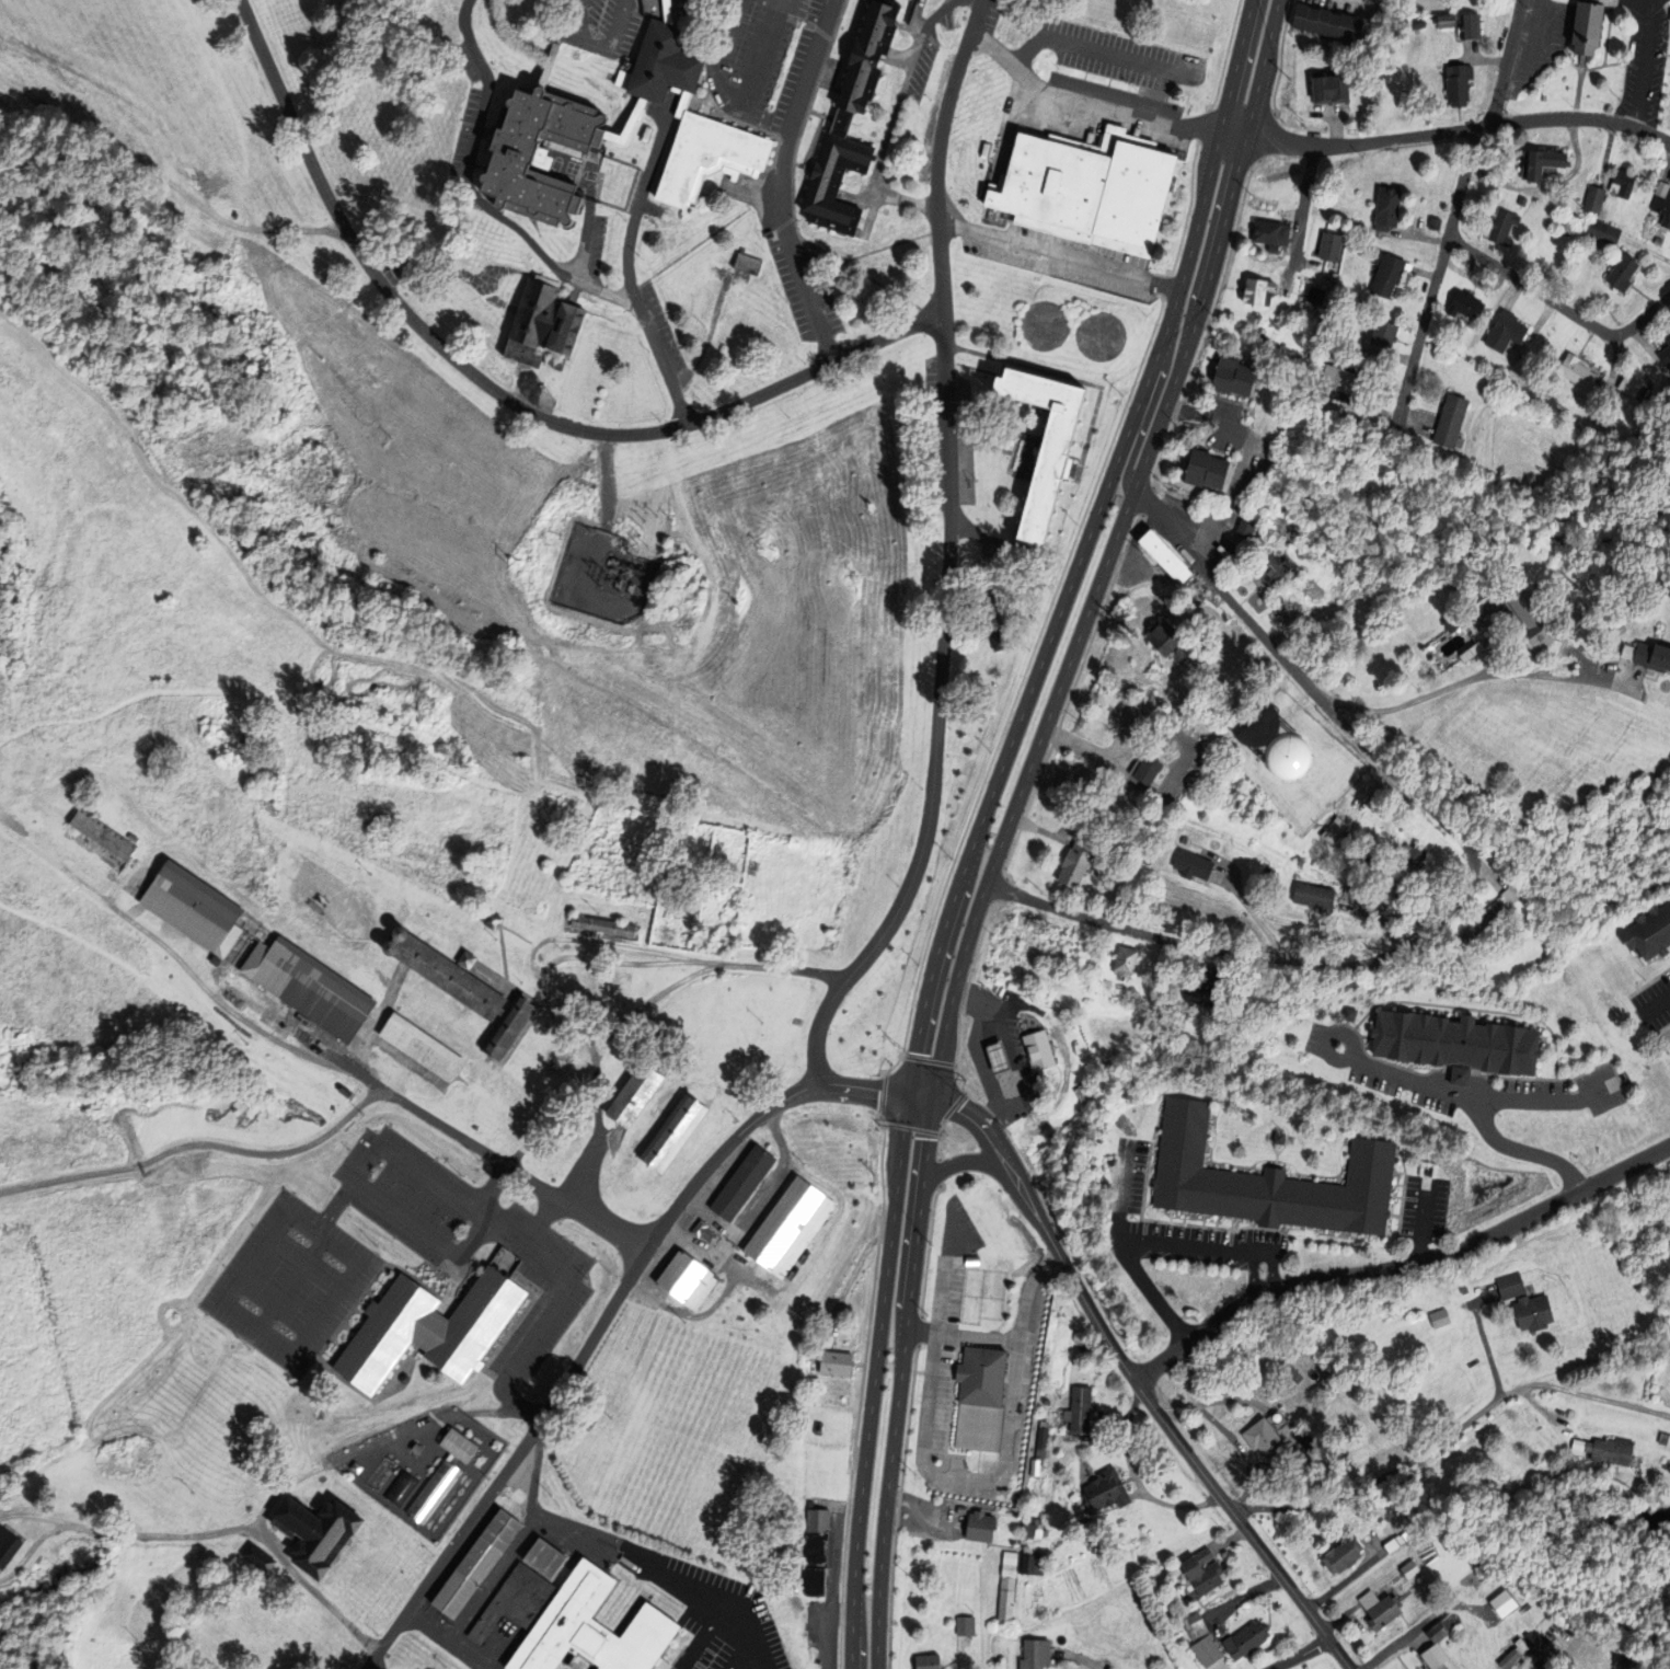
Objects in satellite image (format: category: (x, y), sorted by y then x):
building: (1229, 0)
parking lot: (1616, 1)
parking lot: (1668, 2)
road: (1652, 4)
building: (669, 11)
parking lot: (1669, 20)
building: (1450, 22)
building: (1332, 23)
building: (1418, 24)
building: (1589, 26)
building: (1472, 27)
parking lot: (1525, 33)
parking lot: (1544, 41)
road: (1534, 44)
road: (1095, 50)
parking lot: (1620, 56)
road: (1645, 59)
road: (1506, 64)
building: (665, 68)
building: (1461, 84)
parking lot: (1665, 89)
building: (1334, 90)
road: (1084, 100)
road: (735, 101)
road: (892, 115)
parking lot: (1632, 119)
building: (844, 124)
building: (623, 127)
road: (1447, 131)
building: (647, 135)
road: (936, 152)
building: (712, 159)
building: (519, 160)
building: (1545, 162)
building: (1625, 181)
road: (164, 183)
road: (778, 183)
building: (1271, 184)
building: (1091, 186)
road: (470, 191)
road: (1305, 199)
building: (1596, 199)
building: (1390, 207)
building: (1663, 207)
building: (1437, 223)
building: (1505, 226)
building: (1567, 227)
building: (1274, 231)
building: (1605, 231)
building: (1658, 241)
building: (1333, 245)
road: (1217, 246)
road: (1057, 254)
building: (749, 264)
road: (1439, 269)
building: (1390, 271)
building: (1626, 271)
road: (625, 277)
building: (1260, 289)
building: (1322, 295)
building: (1469, 303)
road: (1558, 304)
building: (1326, 323)
building: (545, 327)
building: (1288, 329)
building: (1263, 331)
building: (1297, 331)
building: (1506, 331)
building: (1304, 333)
building: (1386, 333)
building: (1669, 337)
building: (1354, 342)
building: (1658, 349)
building: (1331, 354)
building: (1581, 372)
building: (1235, 376)
building: (1339, 377)
building: (1633, 383)
road: (497, 394)
road: (1153, 396)
road: (1200, 413)
building: (1453, 422)
building: (1047, 442)
crop: (1537, 452)
building: (1208, 469)
building: (1175, 496)
building: (1246, 529)
building: (1558, 543)
road: (1082, 550)
building: (1164, 555)
road: (286, 568)
building: (1275, 572)
power substation: (604, 576)
building: (1482, 600)
building: (1045, 613)
building: (1534, 621)
building: (1453, 624)
building: (1000, 637)
building: (1171, 641)
building: (1649, 655)
road: (1476, 677)
building: (1122, 712)
road: (936, 715)
road: (329, 718)
water tower: (1287, 757)
building: (1280, 759)
building: (1151, 770)
building: (1084, 780)
building: (1336, 829)
building: (99, 836)
building: (1185, 840)
building: (1412, 860)
building: (1372, 862)
building: (1079, 864)
building: (1195, 865)
road: (1467, 880)
building: (1393, 887)
building: (1317, 896)
building: (1511, 896)
building: (1381, 906)
building: (194, 908)
building: (1533, 908)
road: (1254, 914)
building: (1489, 919)
building: (494, 921)
building: (604, 926)
building: (1012, 928)
building: (1650, 931)
building: (401, 932)
building: (698, 942)
building: (391, 948)
building: (468, 960)
building: (1128, 962)
building: (310, 988)
building: (1156, 989)
building: (1207, 989)
building: (470, 993)
parking lot: (1654, 1003)
road: (1657, 1005)
road: (180, 1009)
building: (1347, 1013)
building: (1456, 1045)
building: (424, 1048)
road: (1354, 1048)
building: (1041, 1050)
building: (993, 1058)
building: (1002, 1058)
road: (938, 1063)
building: (555, 1064)
parking lot: (1377, 1069)
building: (869, 1092)
building: (637, 1095)
traffic signals: (908, 1098)
road: (1479, 1098)
traffic signals: (933, 1102)
building: (675, 1133)
building: (1281, 1136)
road: (468, 1141)
road: (198, 1144)
road: (1522, 1151)
road: (963, 1161)
parking lot: (377, 1170)
parking lot: (377, 1170)
parking lot: (377, 1170)
parking lot: (377, 1170)
parking lot: (1128, 1177)
building: (1270, 1179)
building: (745, 1182)
road: (491, 1187)
road: (346, 1189)
parking lot: (514, 1196)
building: (990, 1211)
parking lot: (1131, 1216)
road: (541, 1220)
road: (1419, 1221)
building: (792, 1225)
building: (703, 1230)
parking lot: (461, 1231)
parking lot: (461, 1231)
parking lot: (461, 1231)
parking lot: (461, 1231)
road: (425, 1233)
parking lot: (461, 1233)
parking lot: (298, 1236)
parking lot: (298, 1236)
parking lot: (298, 1236)
parking lot: (298, 1236)
parking lot: (565, 1243)
road: (1194, 1246)
parking lot: (343, 1247)
parking lot: (1240, 1248)
road: (1121, 1251)
building: (974, 1259)
parking lot: (334, 1262)
parking lot: (334, 1262)
parking lot: (334, 1262)
parking lot: (334, 1262)
road: (1401, 1265)
parking lot: (1262, 1269)
parking lot: (1262, 1269)
road: (1271, 1273)
road: (1253, 1276)
building: (689, 1278)
parking lot: (405, 1280)
parking lot: (585, 1281)
road: (291, 1282)
building: (1511, 1285)
parking lot: (526, 1292)
parking lot: (589, 1292)
parking lot: (250, 1305)
parking lot: (250, 1305)
parking lot: (250, 1305)
parking lot: (250, 1305)
building: (1535, 1312)
building: (972, 1314)
road: (601, 1322)
building: (429, 1328)
parking lot: (284, 1330)
parking lot: (284, 1330)
parking lot: (284, 1330)
parking lot: (284, 1330)
building: (838, 1363)
parking lot: (543, 1367)
building: (1289, 1368)
parking lot: (512, 1371)
road: (1128, 1373)
building: (404, 1378)
building: (1240, 1380)
building: (958, 1381)
road: (873, 1383)
building: (1249, 1389)
building: (909, 1395)
building: (983, 1396)
road: (1613, 1400)
building: (1081, 1409)
road: (521, 1412)
building: (819, 1428)
building: (1267, 1437)
building: (1300, 1437)
building: (1045, 1438)
building: (1665, 1438)
building: (1310, 1441)
building: (1608, 1450)
building: (147, 1451)
building: (1037, 1466)
road: (1403, 1466)
road: (999, 1480)
road: (280, 1489)
building: (1108, 1490)
building: (896, 1512)
road: (33, 1515)
building: (982, 1526)
building: (1033, 1528)
building: (321, 1531)
building: (1394, 1543)
building: (8, 1545)
road: (35, 1546)
road: (640, 1550)
building: (819, 1550)
building: (1346, 1554)
building: (260, 1557)
building: (546, 1557)
building: (1012, 1557)
building: (477, 1563)
building: (1033, 1563)
building: (1412, 1568)
building: (1011, 1569)
building: (1206, 1570)
crop: (1081, 1580)
building: (1010, 1582)
road: (313, 1590)
building: (969, 1591)
building: (969, 1604)
building: (1007, 1607)
building: (1383, 1608)
building: (1138, 1613)
building: (575, 1621)
building: (967, 1625)
building: (1197, 1626)
building: (1443, 1627)
building: (1248, 1639)
road: (707, 1643)
building: (426, 1645)
building: (1209, 1650)
building: (1038, 1654)
building: (1516, 1654)
road: (1301, 1655)
building: (1439, 1658)
building: (931, 1661)
building: (458, 1662)
road: (748, 1664)
road: (735, 1665)
road: (373, 1667)

